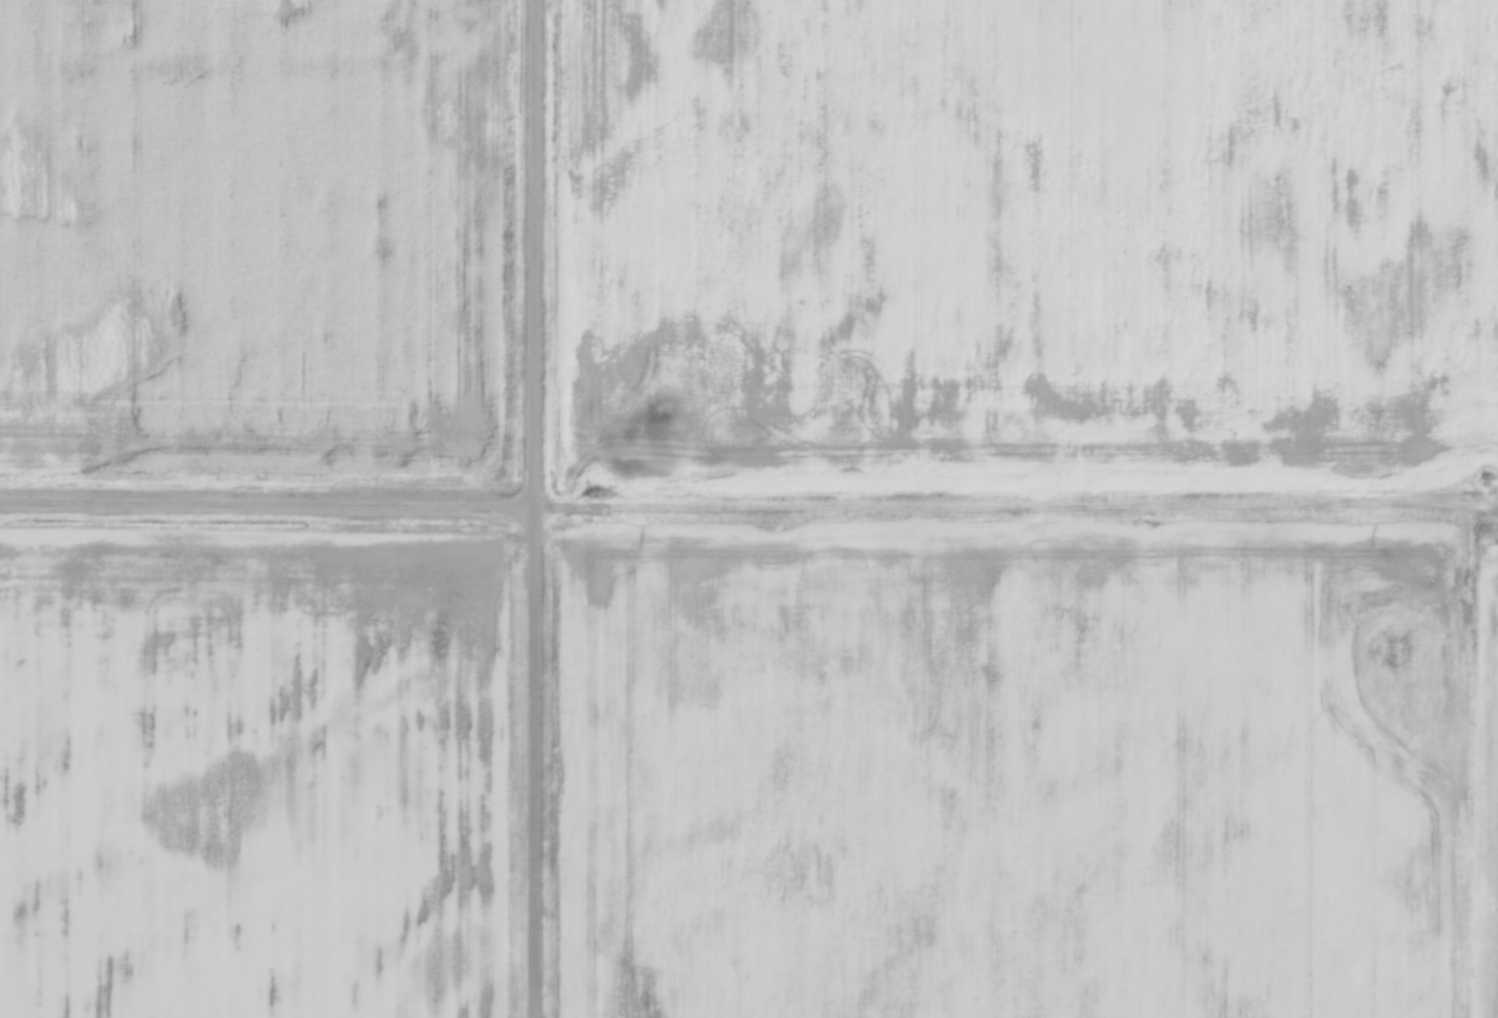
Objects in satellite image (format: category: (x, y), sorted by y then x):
road: (749, 507)
road: (535, 509)

